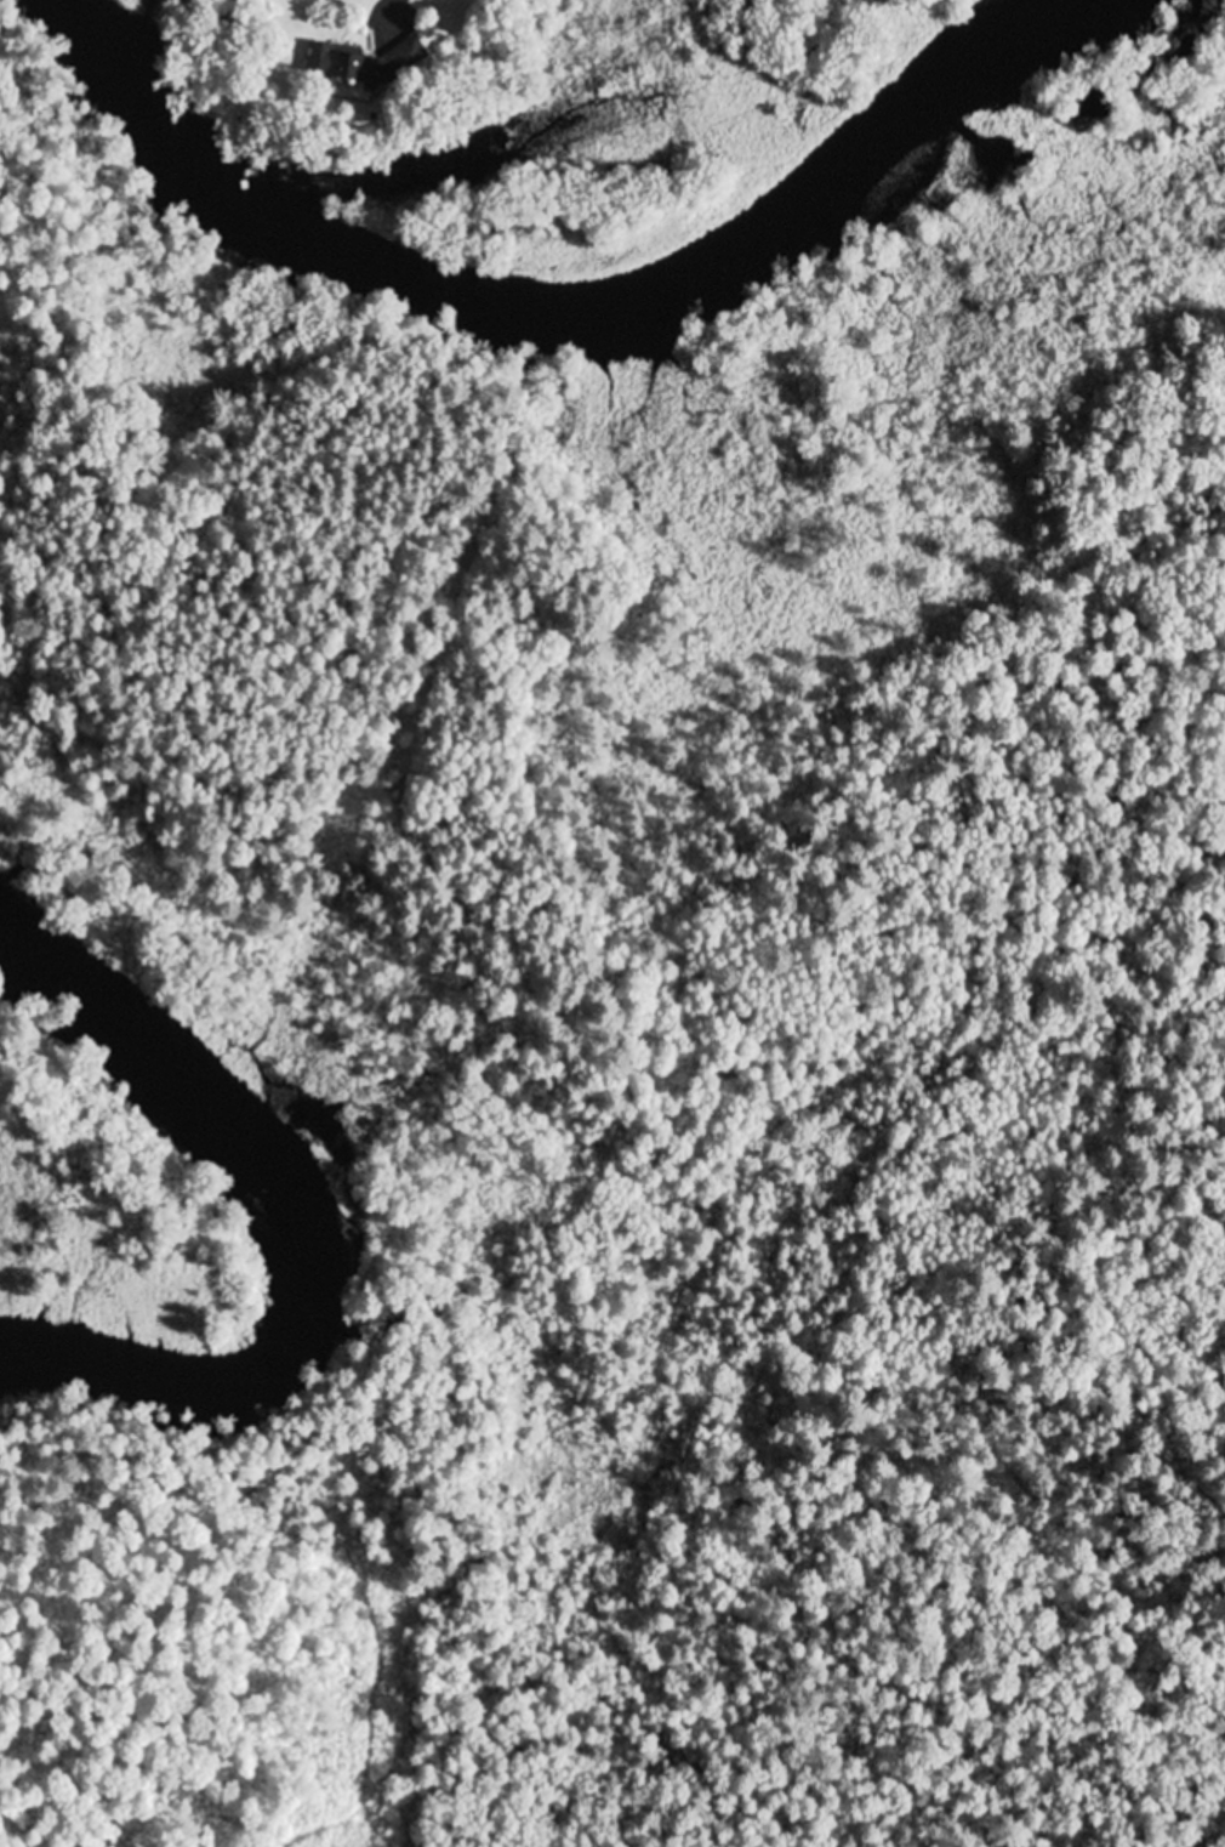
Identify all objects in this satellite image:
building: (358, 64)
river: (535, 275)
river: (273, 1217)

